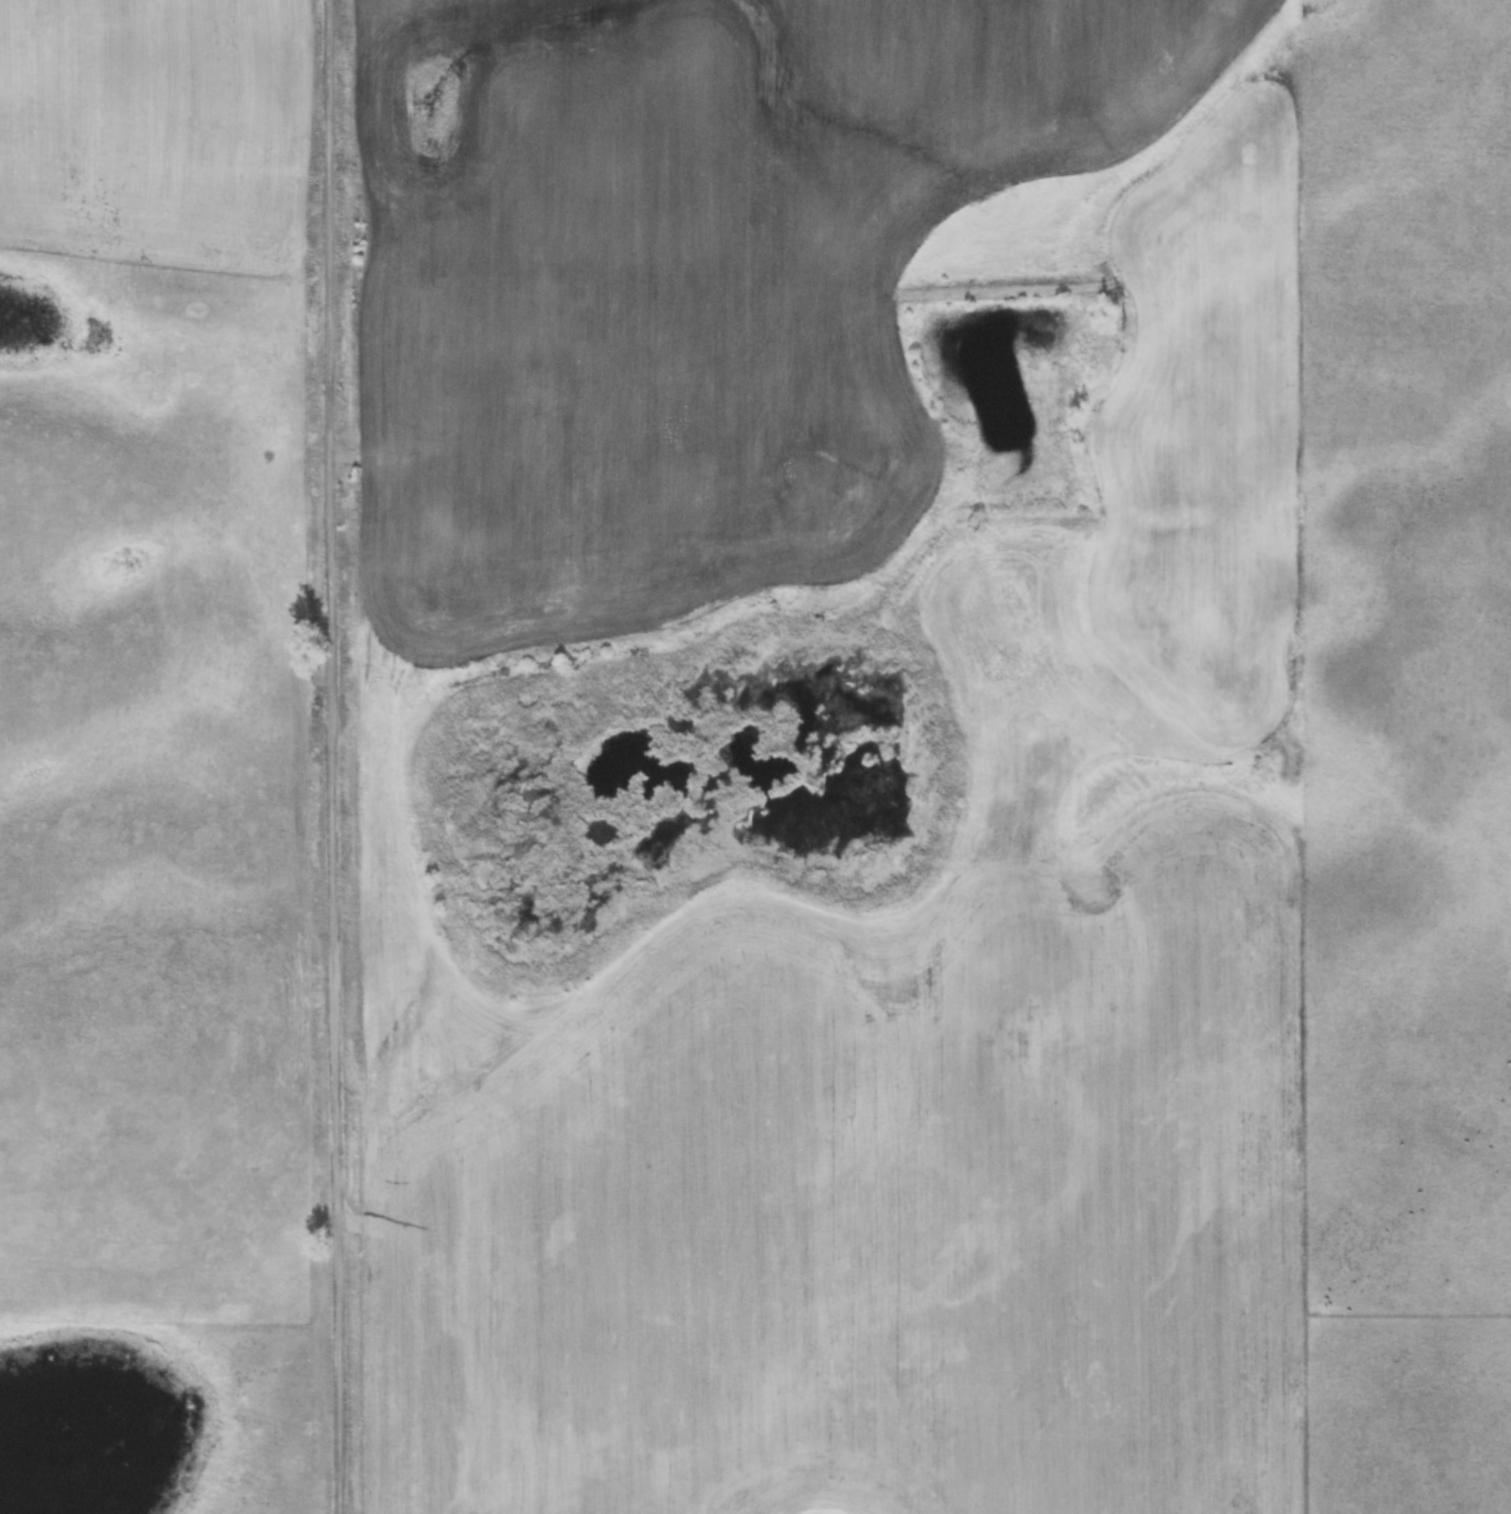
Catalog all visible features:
road: (334, 756)

